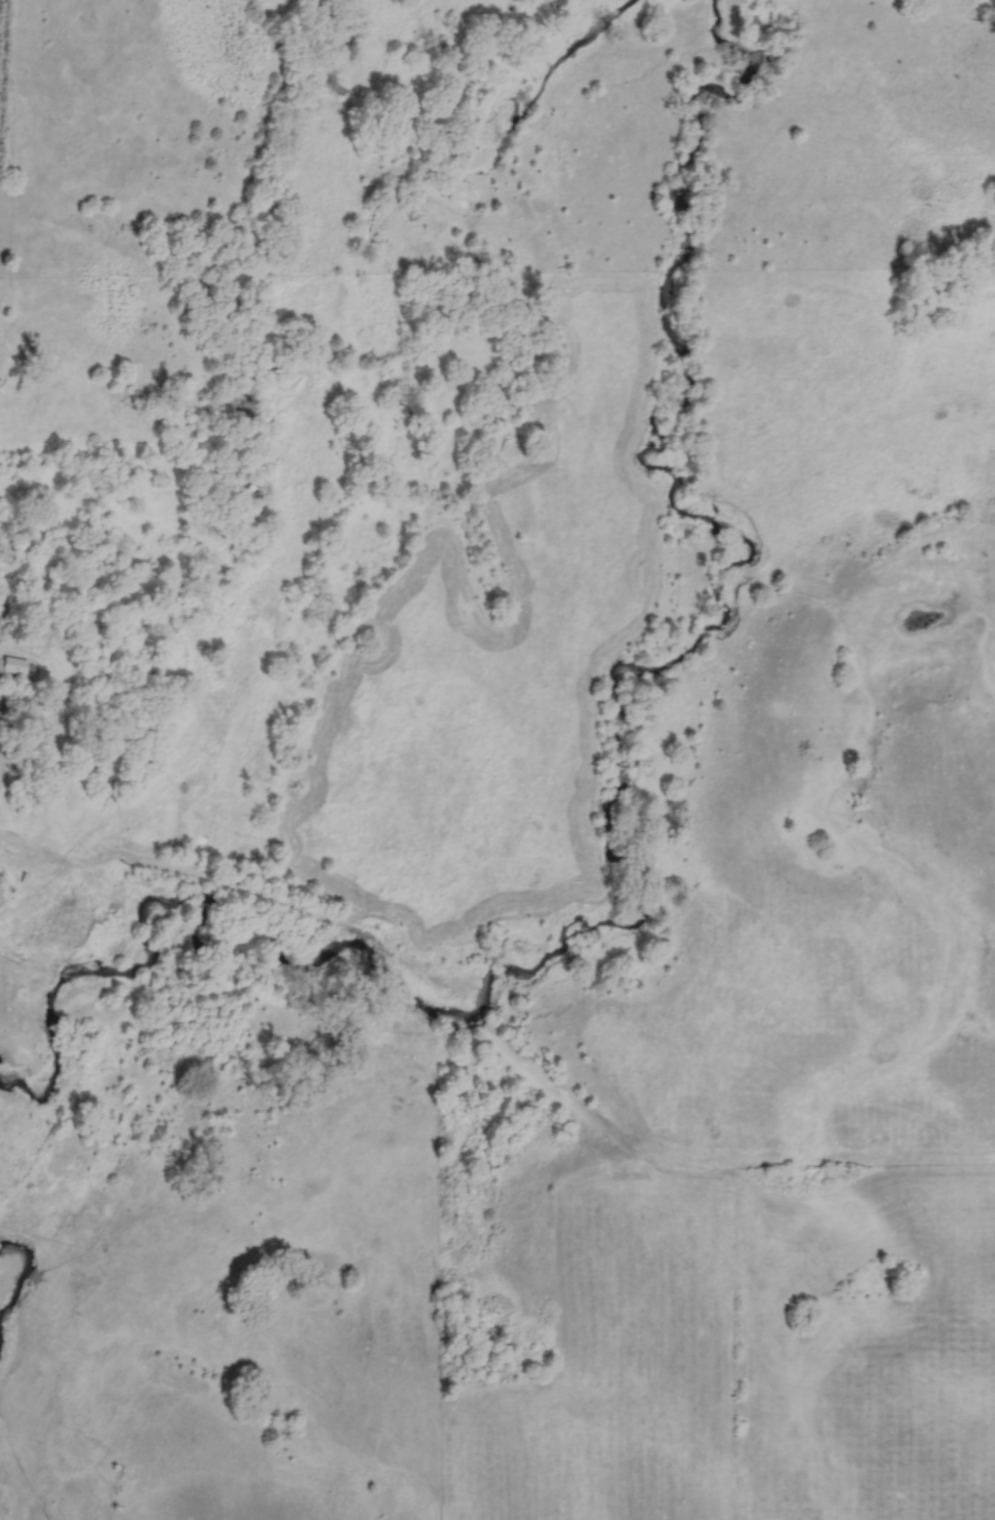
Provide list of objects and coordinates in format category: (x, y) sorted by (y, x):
road: (179, 876)
building: (0, 884)

